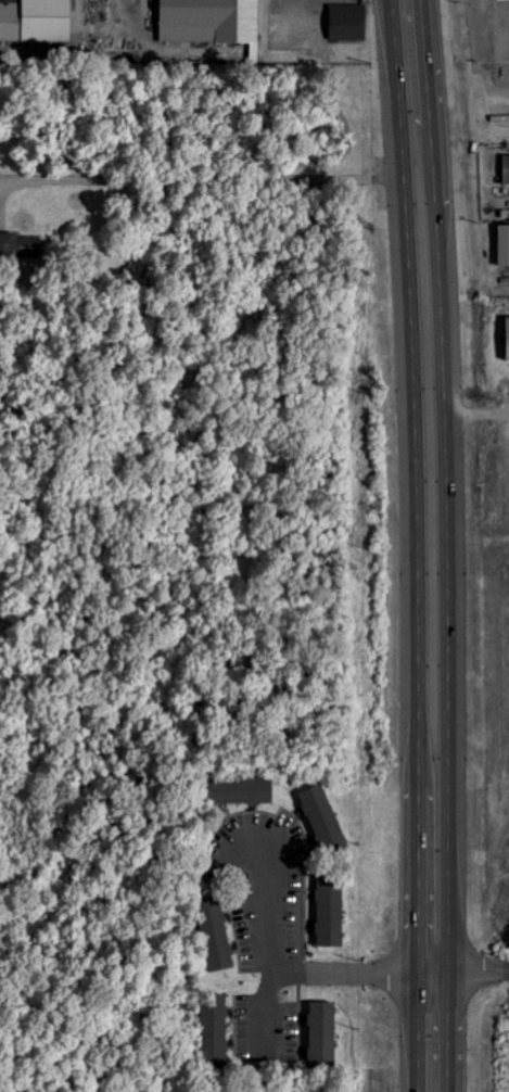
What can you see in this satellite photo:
building: (35, 21)
building: (208, 22)
building: (346, 23)
building: (506, 170)
road: (201, 181)
building: (20, 244)
building: (502, 247)
building: (507, 338)
road: (418, 545)
road: (448, 545)
building: (237, 790)
building: (322, 818)
building: (328, 912)
building: (216, 936)
road: (267, 969)
road: (387, 969)
building: (213, 1028)
building: (321, 1034)

